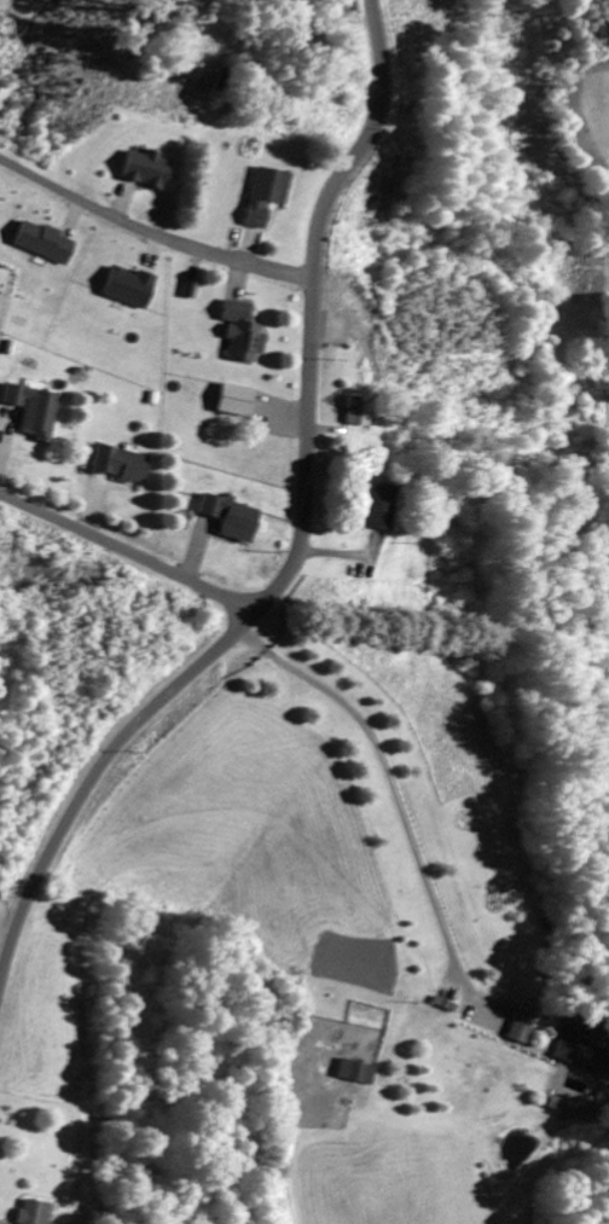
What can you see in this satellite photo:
building: (0, 82)
building: (149, 172)
building: (268, 197)
building: (45, 244)
building: (130, 290)
building: (192, 290)
building: (243, 335)
building: (236, 402)
building: (34, 413)
building: (359, 413)
building: (121, 466)
building: (384, 507)
building: (231, 520)
road: (300, 524)
road: (124, 555)
building: (523, 1029)
building: (584, 1050)
building: (354, 1075)
building: (556, 1107)
building: (34, 1214)

